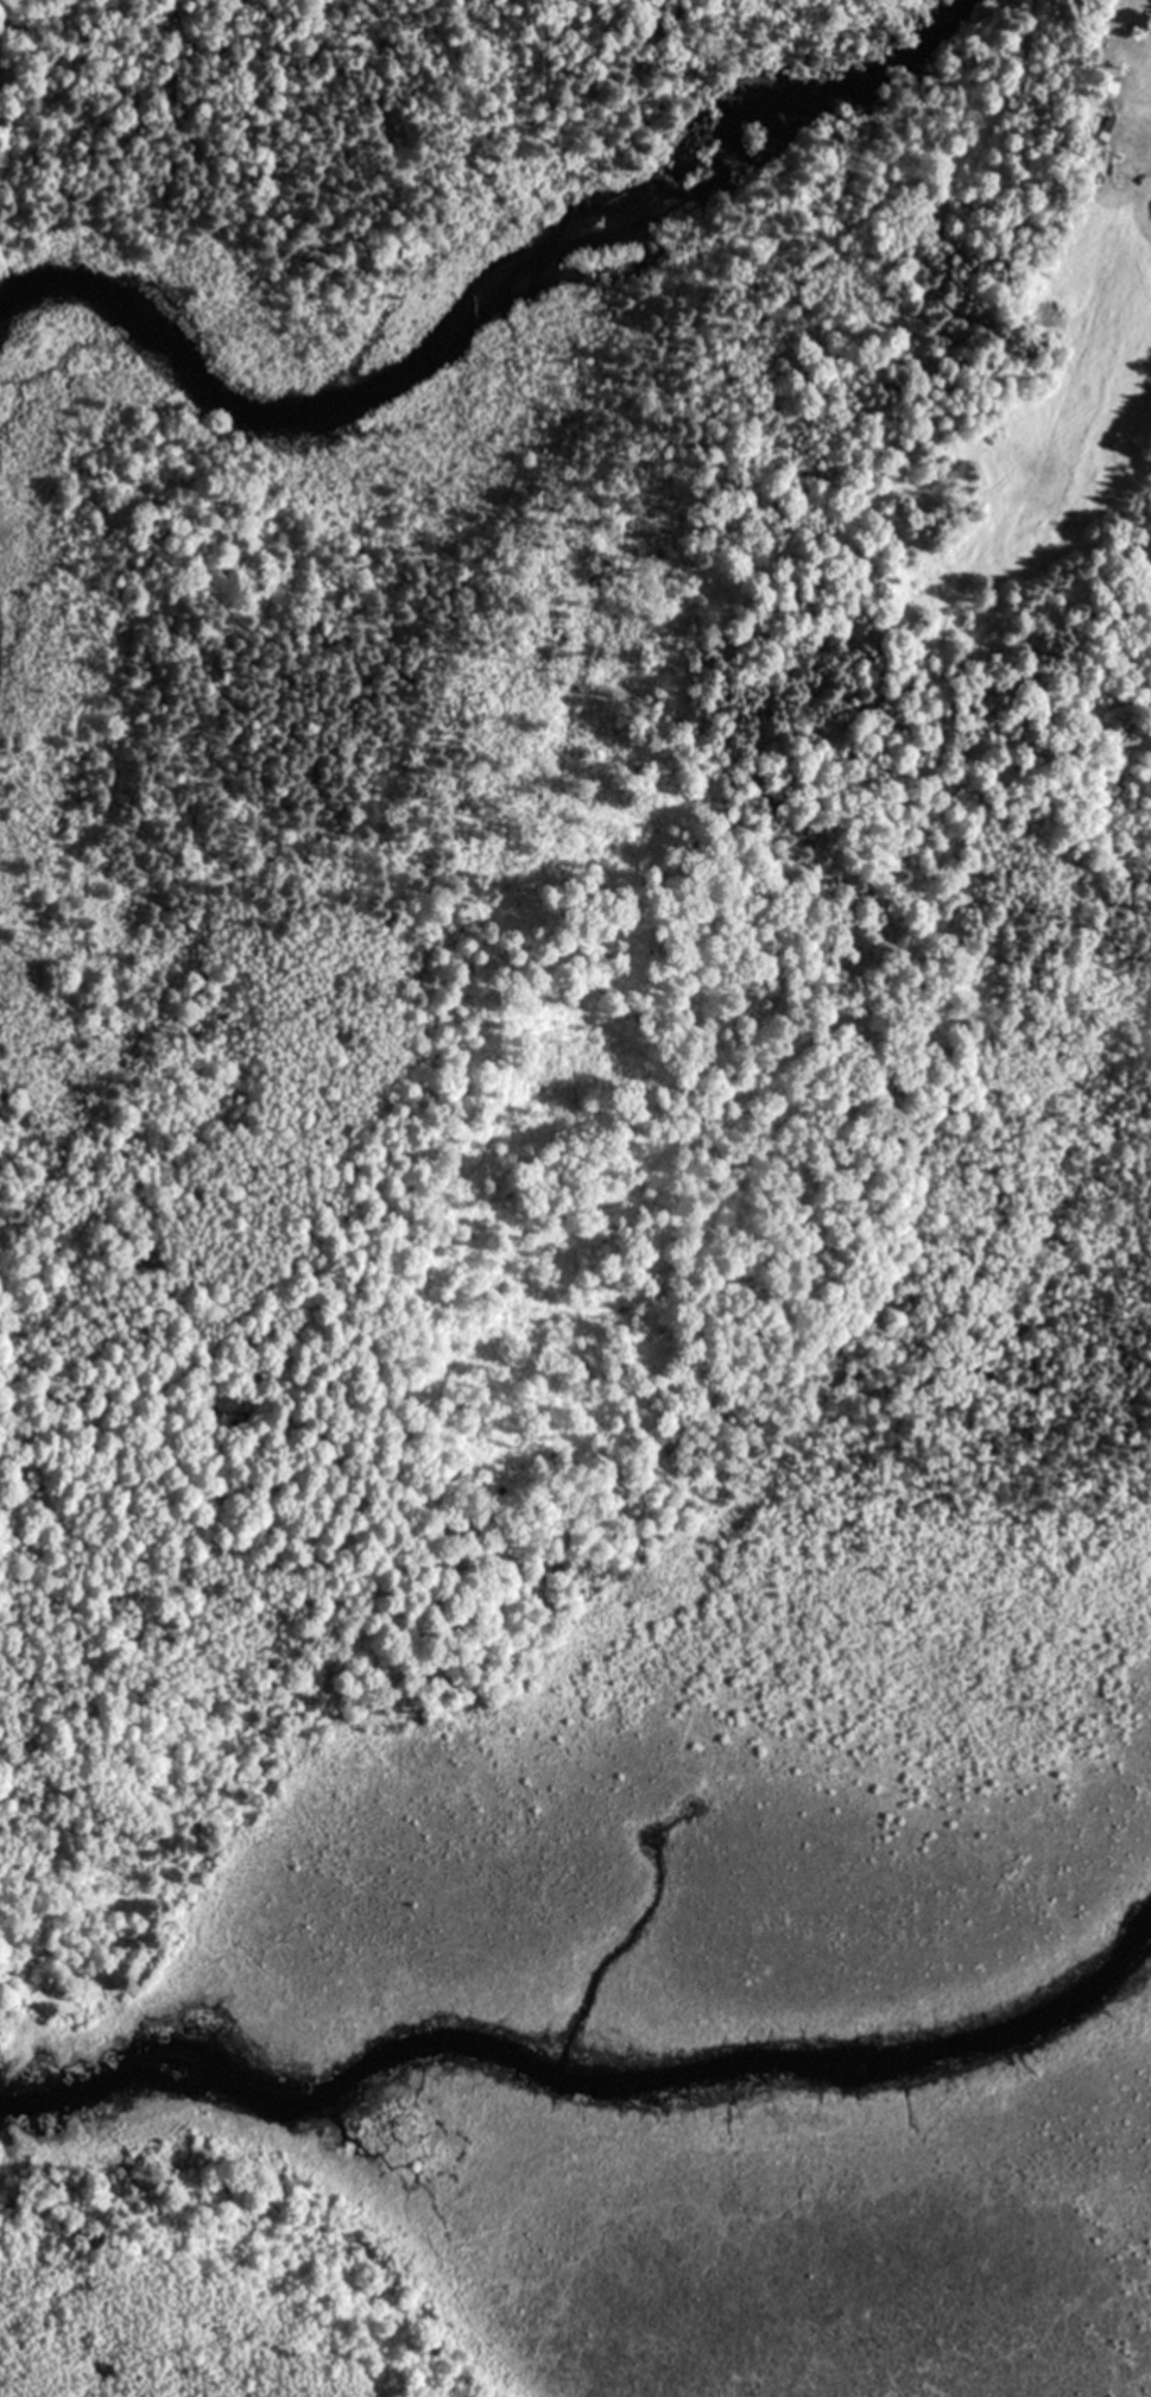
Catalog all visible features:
river: (479, 291)
river: (575, 2067)

